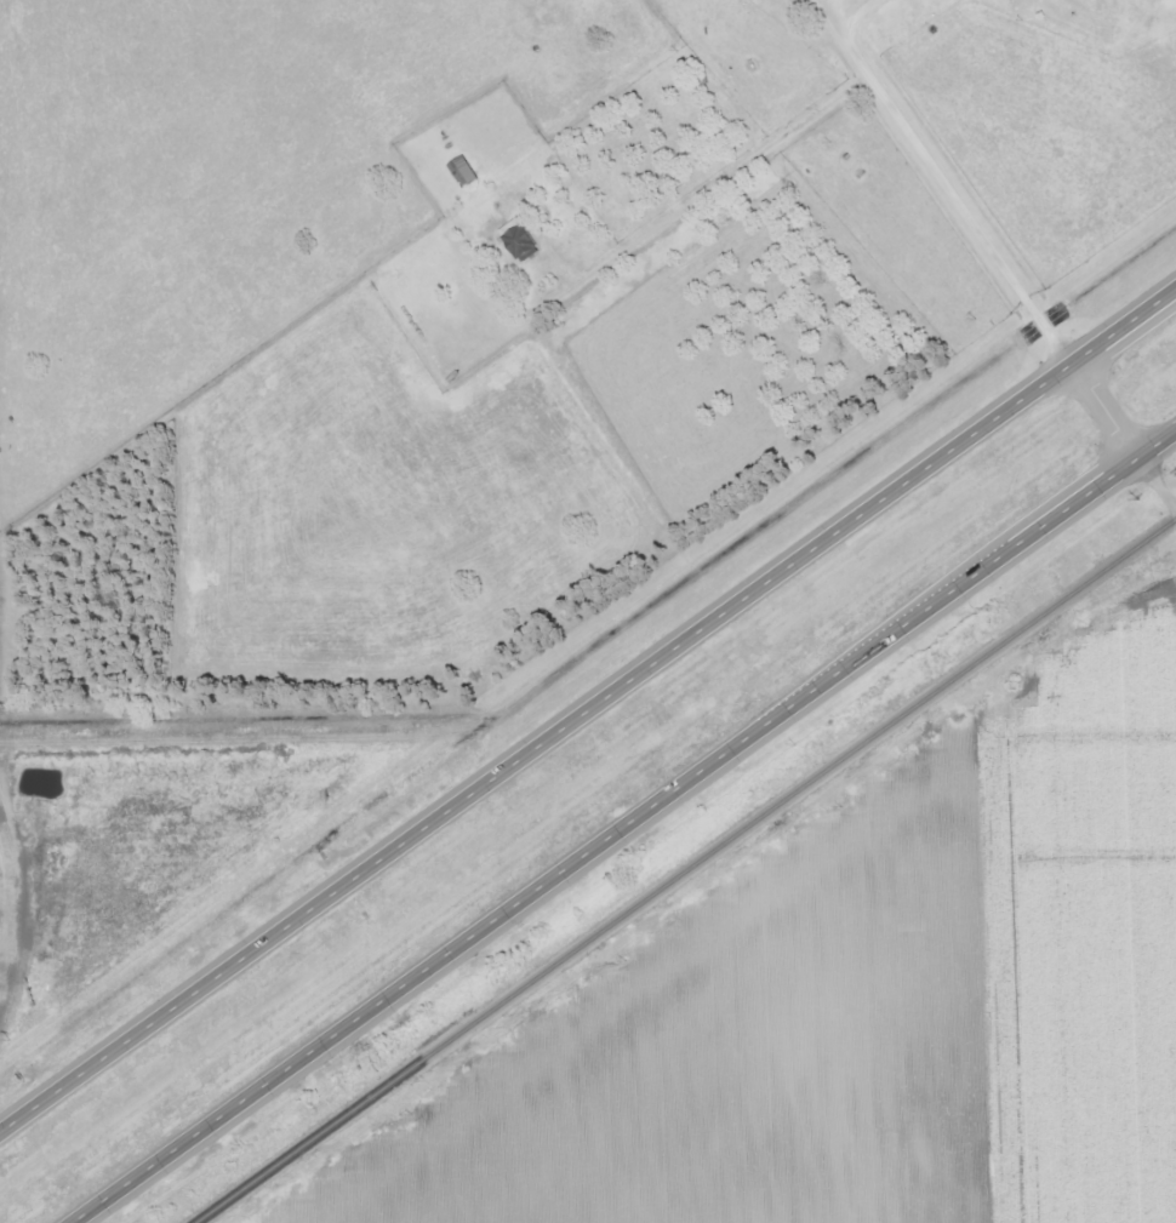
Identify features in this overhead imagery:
building: (457, 170)
road: (940, 189)
building: (513, 239)
road: (1124, 439)
road: (588, 714)
road: (622, 824)
railway: (683, 869)

